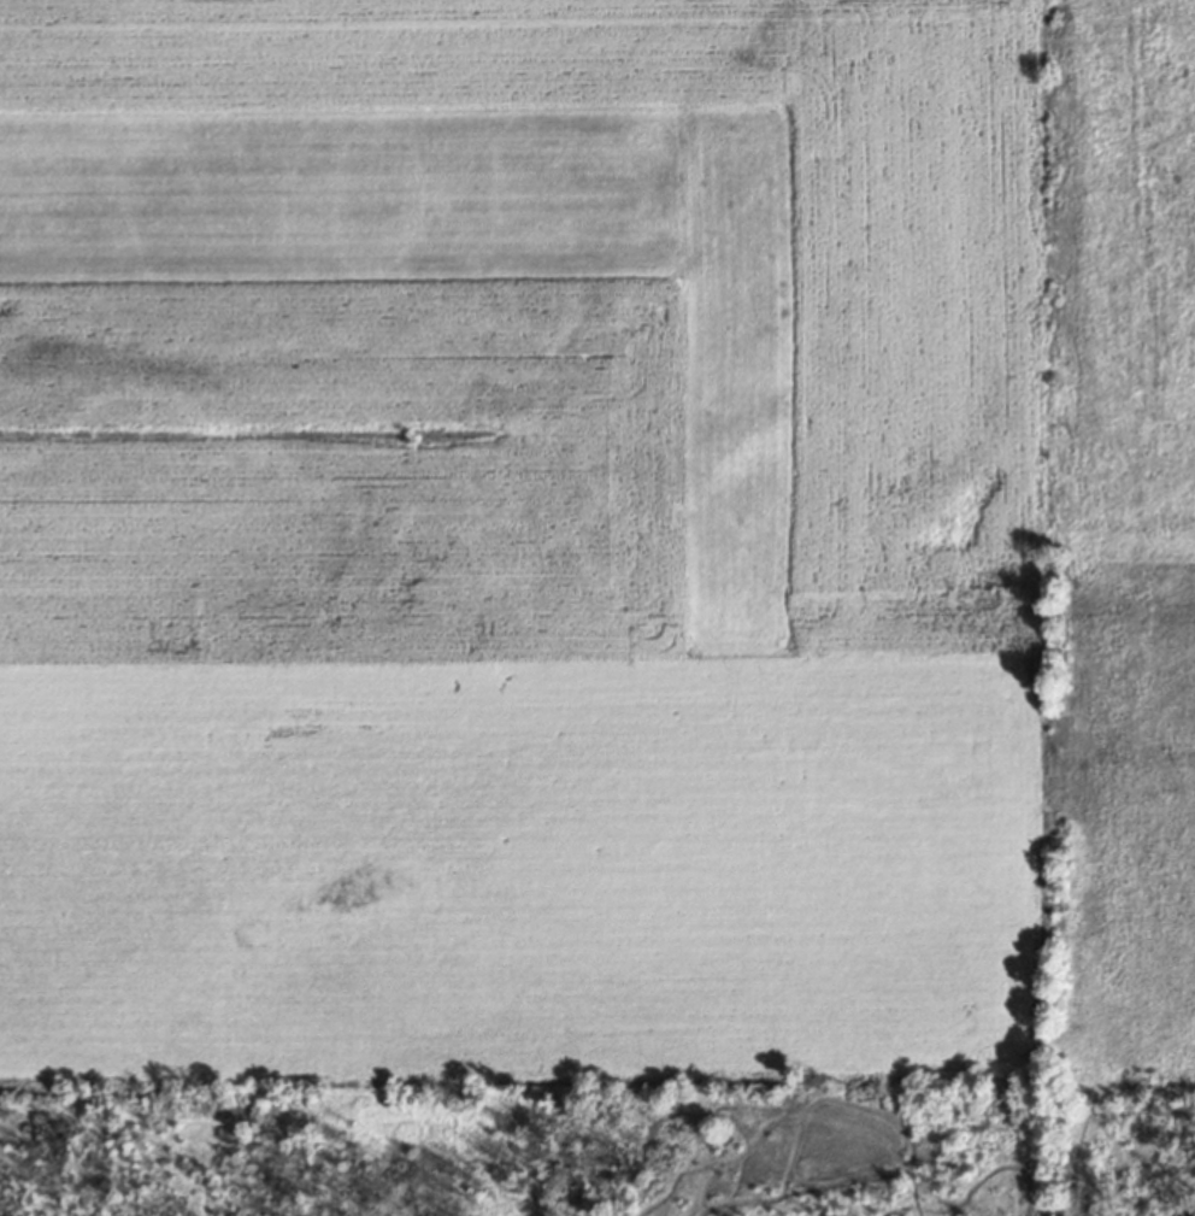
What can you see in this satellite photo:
road: (1075, 1146)

